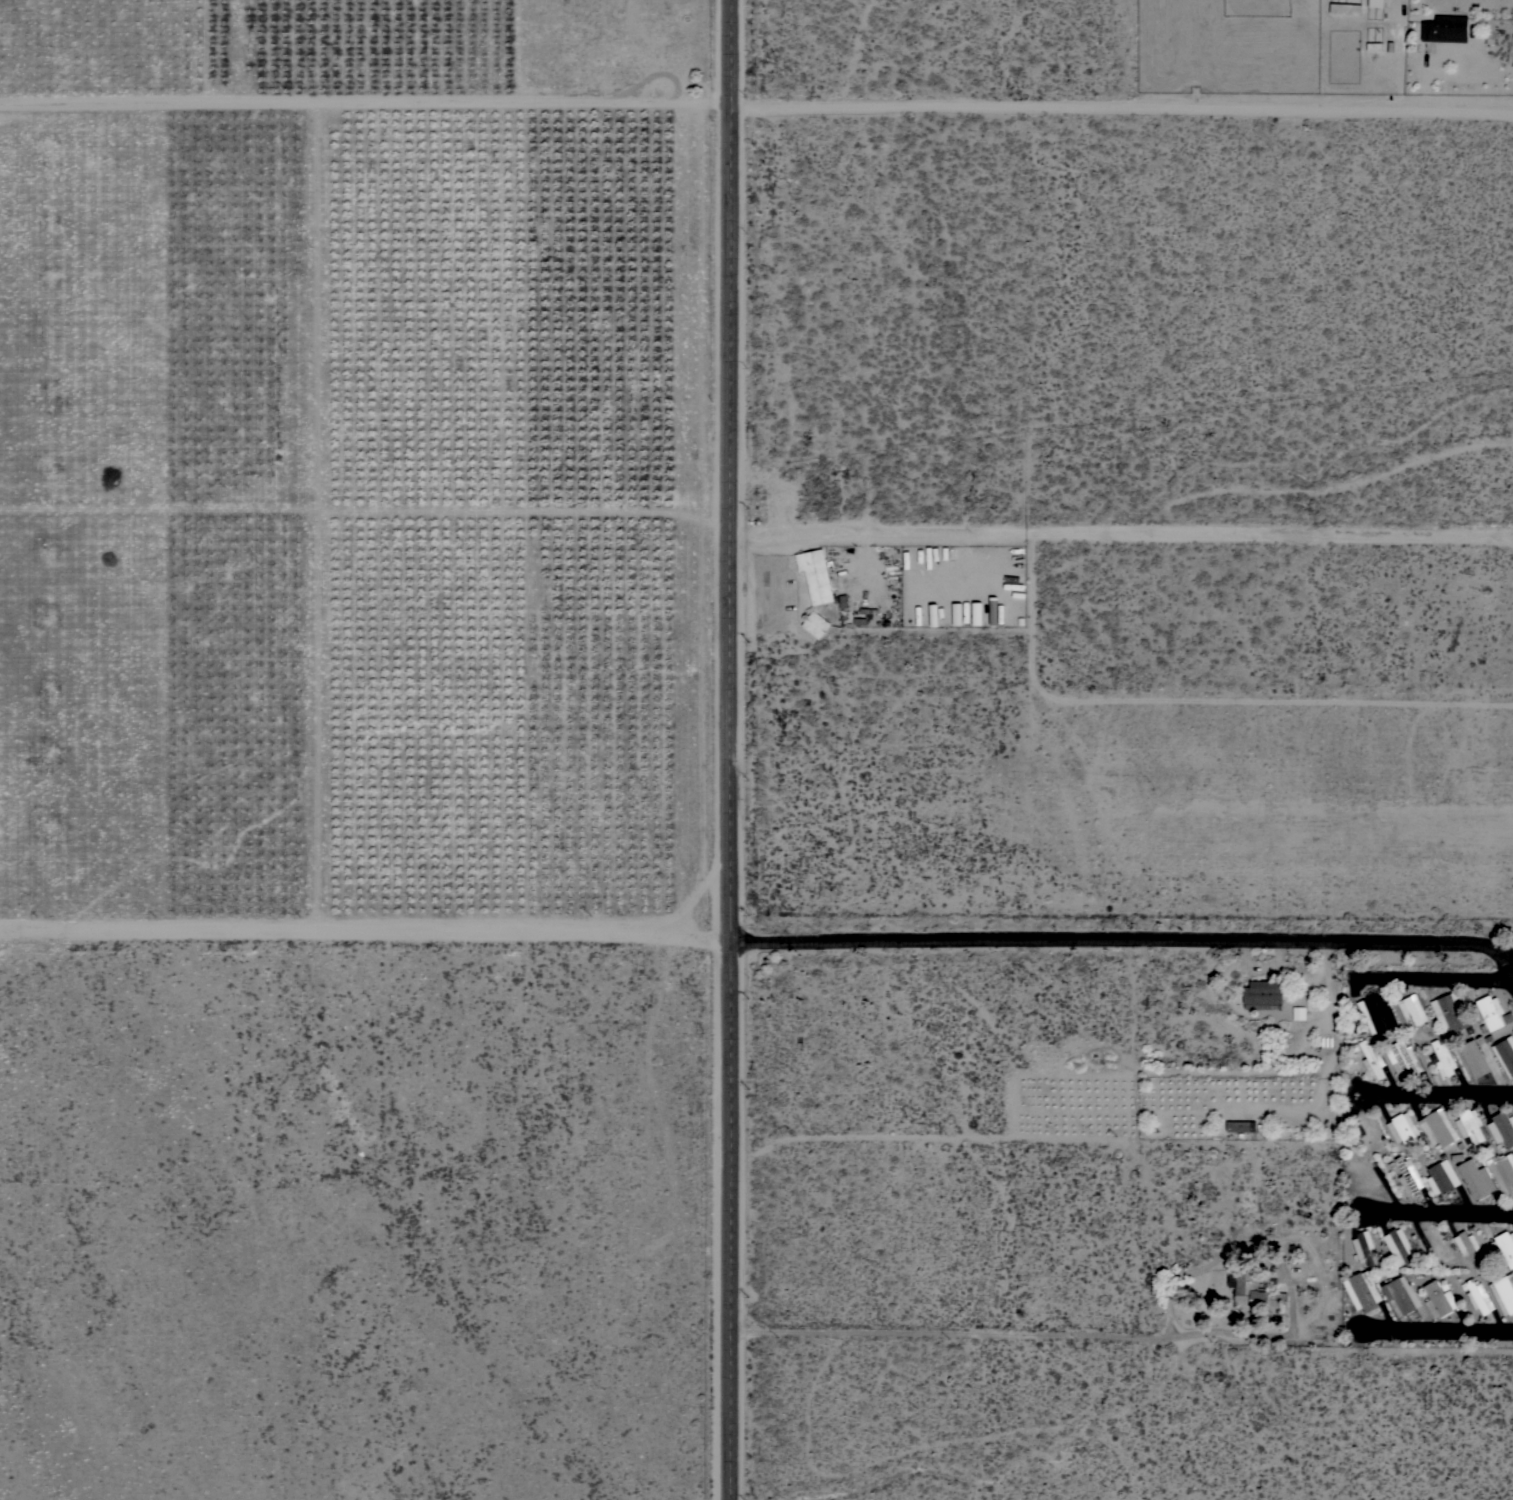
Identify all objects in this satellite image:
building: (1374, 3)
building: (1445, 29)
road: (756, 103)
crop: (361, 482)
road: (1120, 532)
road: (862, 558)
road: (957, 564)
building: (815, 575)
building: (993, 611)
building: (956, 613)
building: (976, 613)
building: (815, 624)
airport: (1156, 743)
road: (729, 750)
road: (365, 931)
road: (1099, 938)
road: (1492, 950)
road: (1277, 953)
road: (1274, 967)
road: (1435, 976)
road: (1326, 984)
building: (1262, 995)
building: (1412, 1009)
building: (1379, 1010)
building: (1487, 1011)
building: (1449, 1012)
building: (1298, 1013)
building: (1512, 1033)
building: (1505, 1054)
building: (1443, 1058)
building: (1474, 1058)
building: (1372, 1059)
building: (1403, 1059)
road: (1436, 1091)
building: (1240, 1126)
building: (1469, 1126)
building: (1402, 1128)
building: (1438, 1128)
building: (1502, 1128)
building: (1366, 1132)
road: (1031, 1135)
building: (1503, 1172)
building: (1368, 1174)
building: (1409, 1175)
building: (1441, 1176)
building: (1475, 1178)
road: (1433, 1209)
building: (1398, 1246)
building: (1468, 1246)
building: (1504, 1246)
building: (1363, 1247)
building: (1362, 1291)
building: (1254, 1292)
building: (1503, 1293)
building: (1401, 1295)
building: (1478, 1297)
building: (1439, 1298)
road: (1434, 1327)
road: (1030, 1331)

